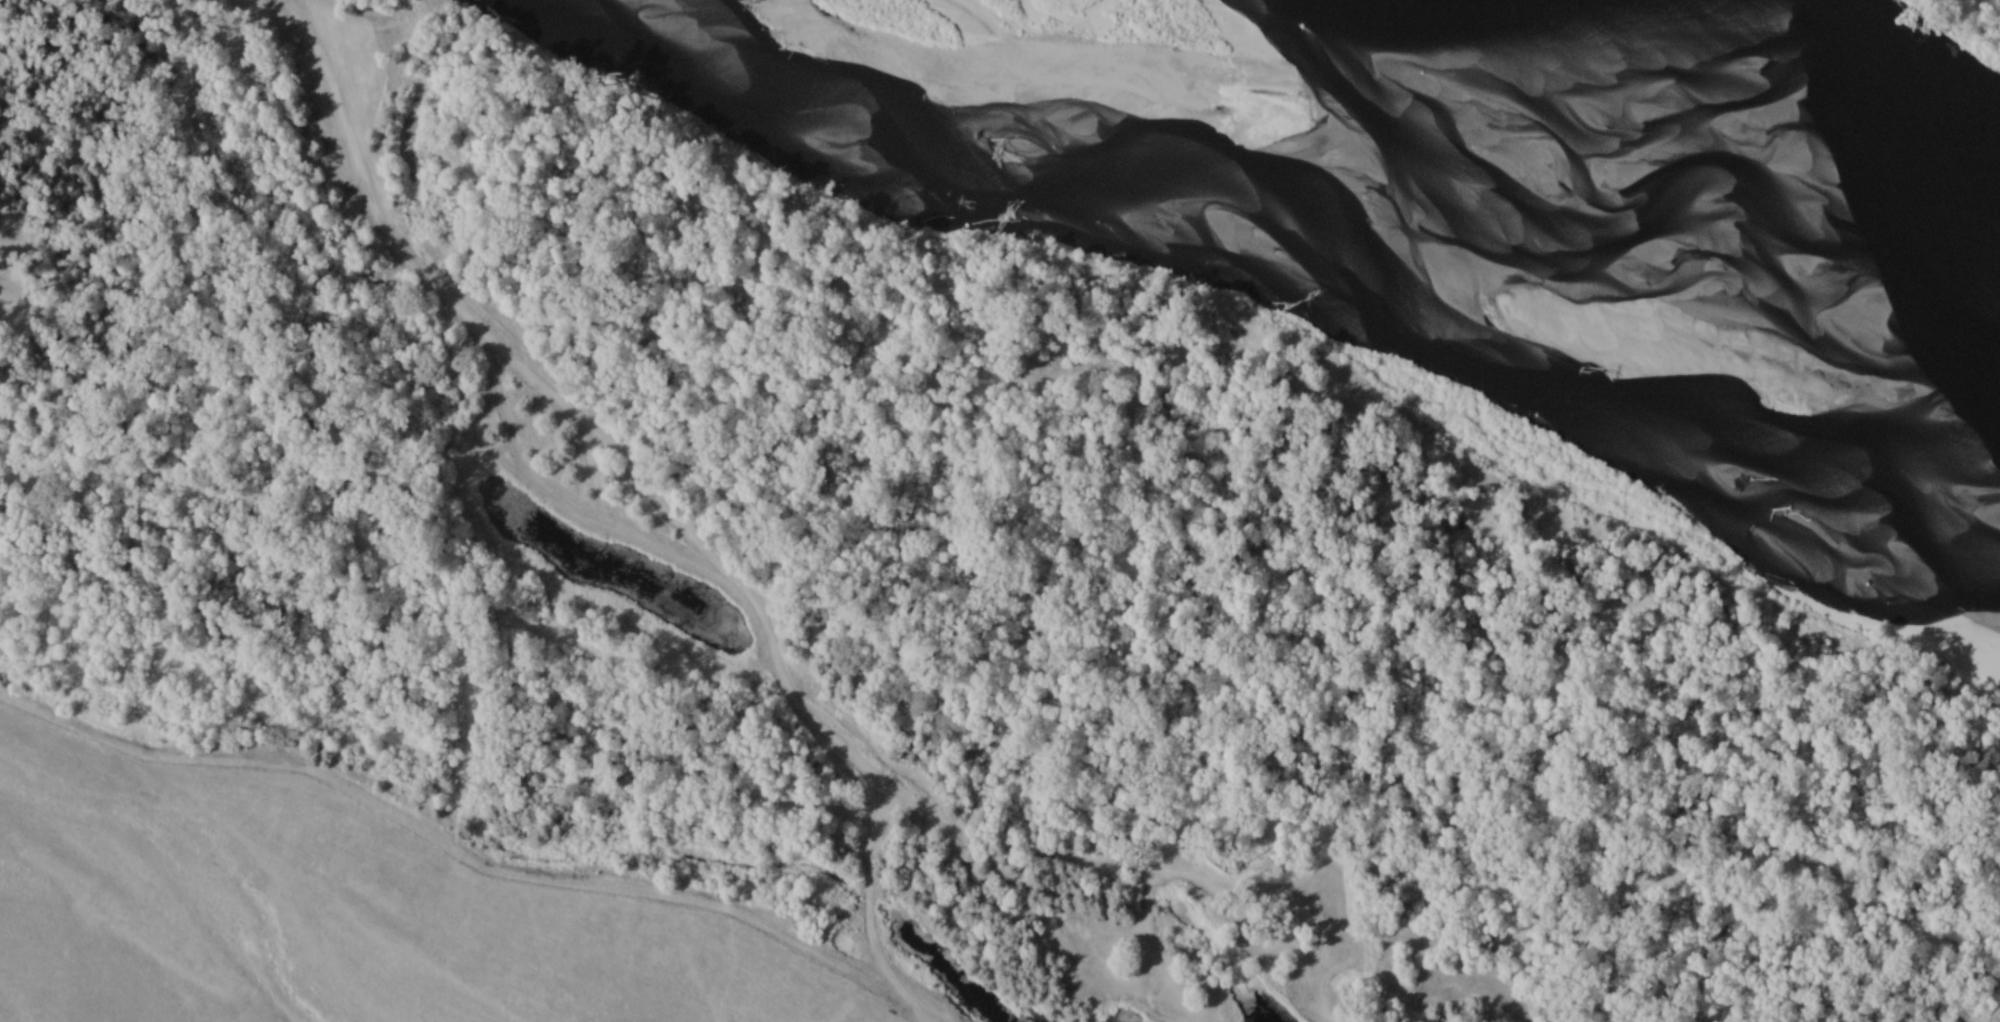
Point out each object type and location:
river: (1773, 160)

